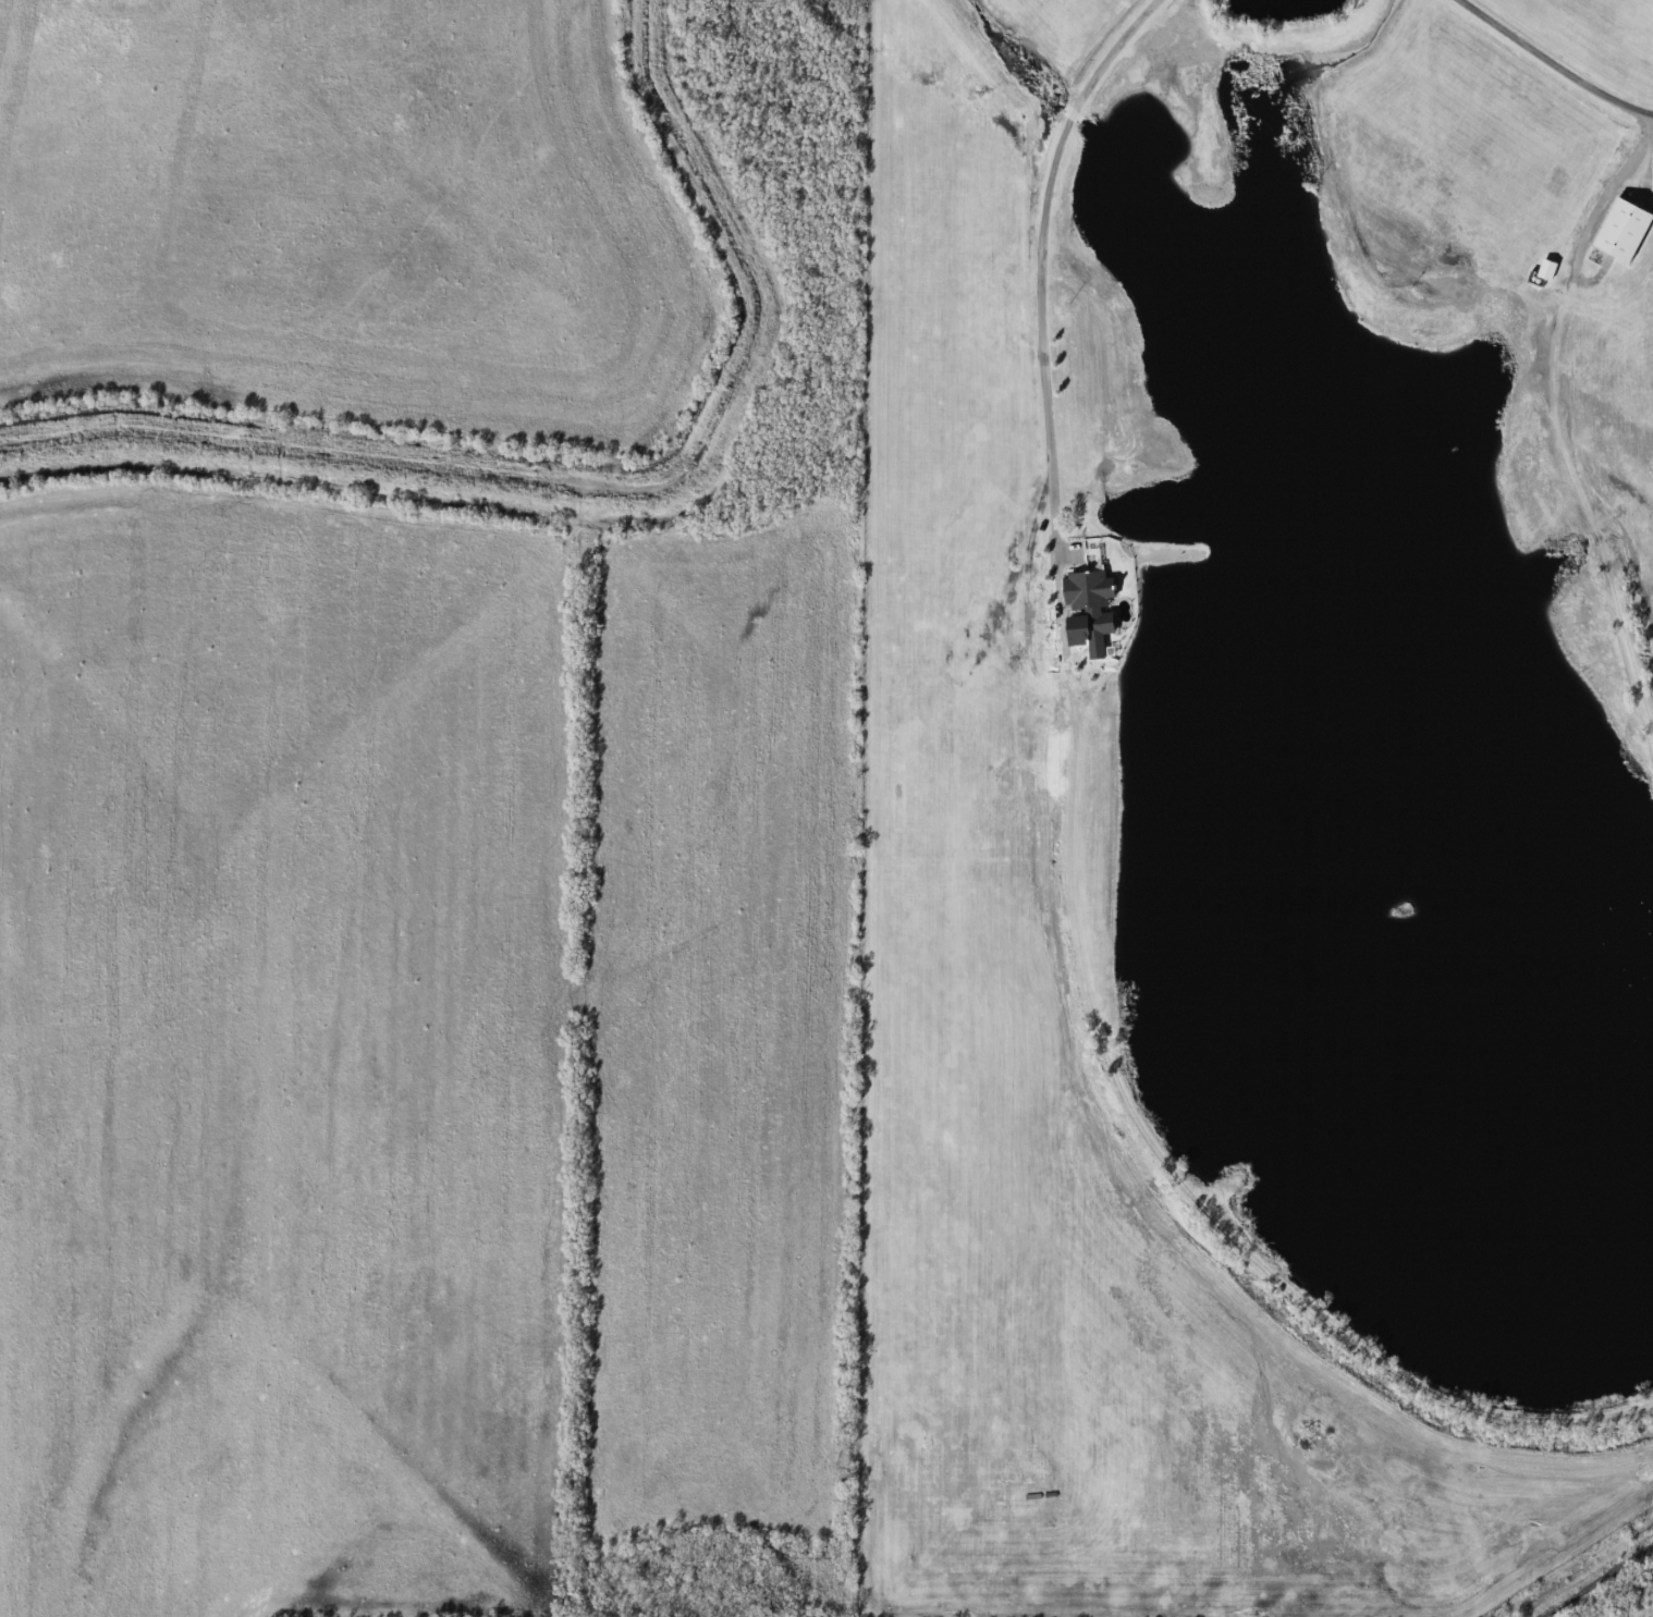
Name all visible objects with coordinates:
road: (1557, 60)
building: (1625, 221)
road: (1039, 314)
building: (1091, 592)

